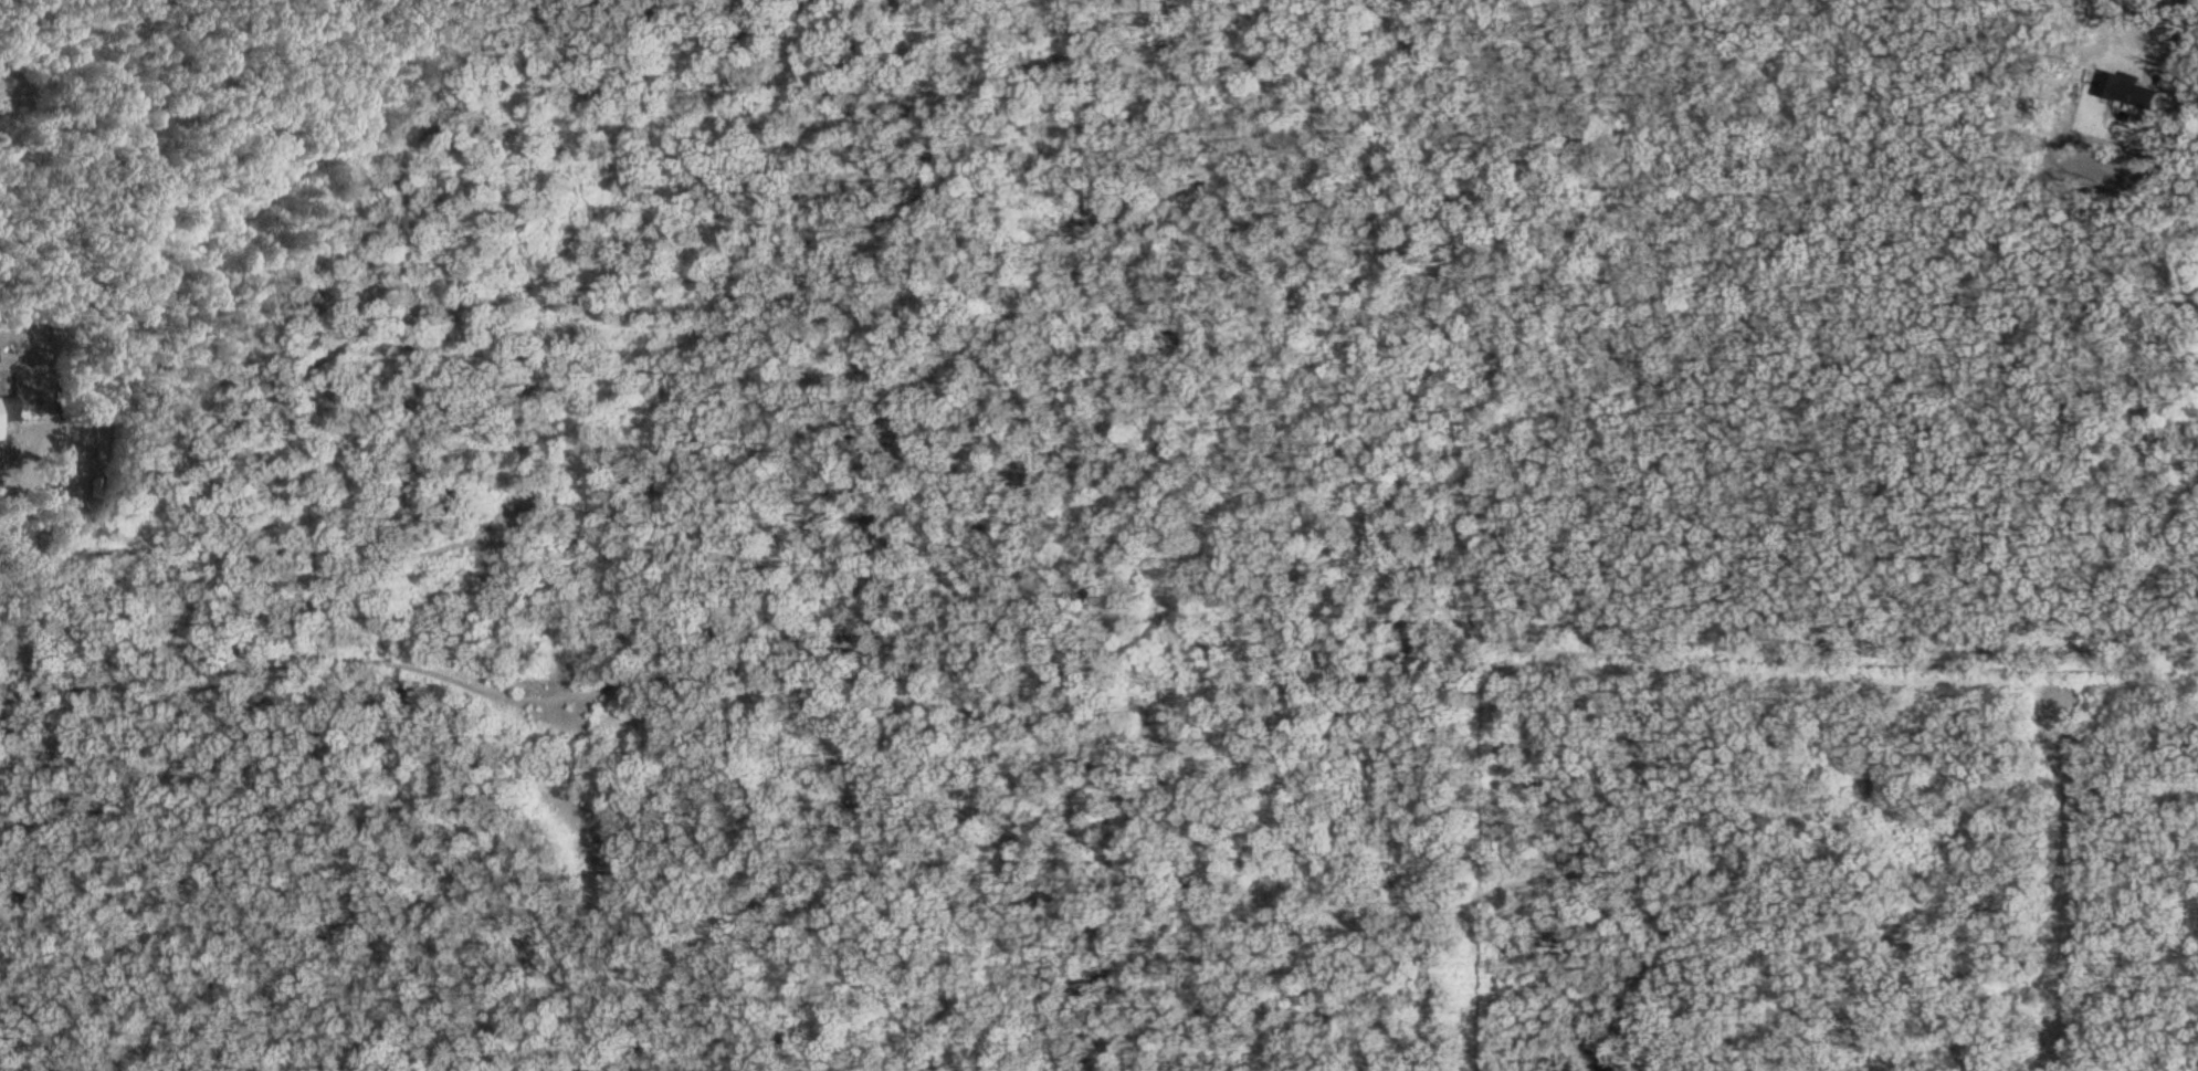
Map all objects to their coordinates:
building: (7, 410)
road: (69, 549)
road: (652, 663)

